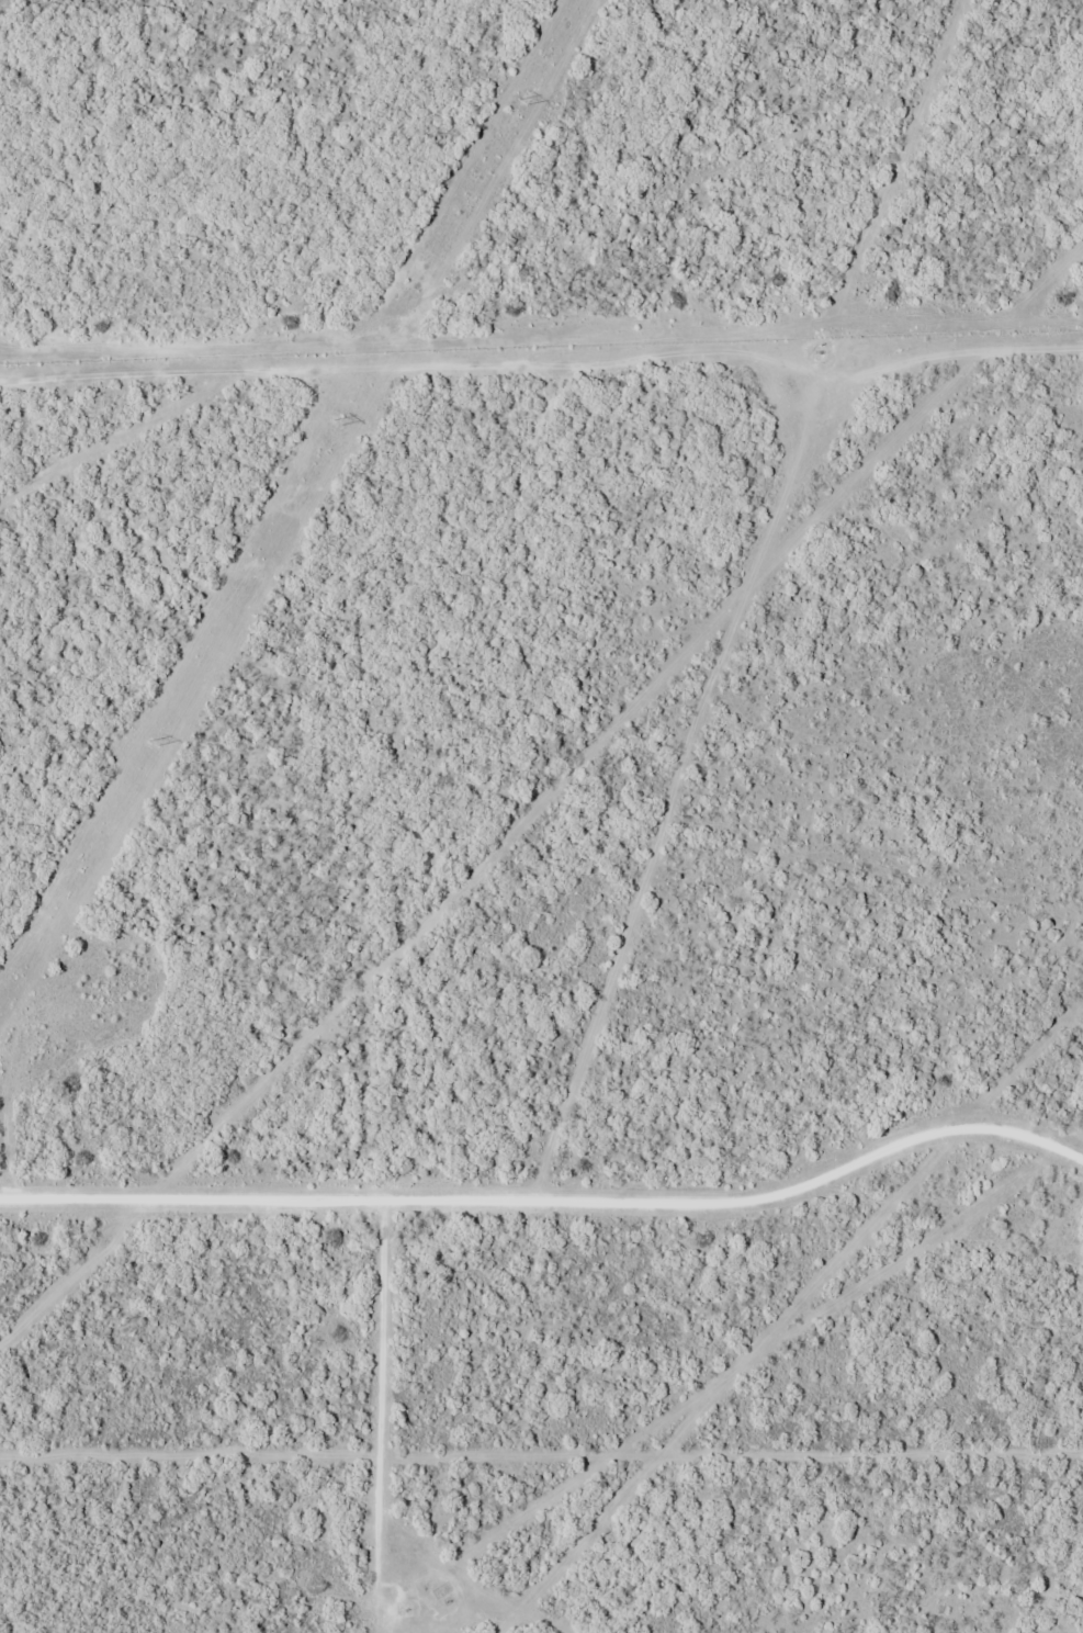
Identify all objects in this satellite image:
power tower: (523, 99)
power tower: (338, 419)
power tower: (153, 741)
road: (543, 1160)
road: (372, 1361)

